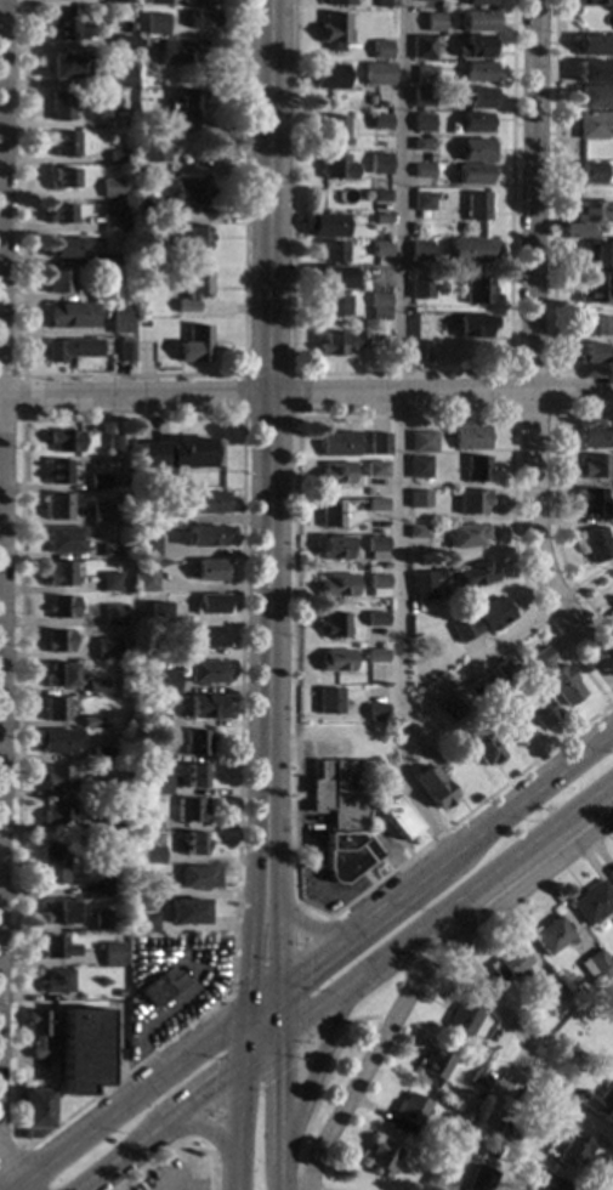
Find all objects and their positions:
building: (425, 0)
building: (114, 1)
building: (155, 1)
building: (591, 1)
building: (336, 2)
building: (478, 2)
building: (385, 4)
building: (200, 17)
building: (479, 18)
building: (431, 22)
building: (66, 25)
building: (124, 27)
building: (159, 29)
building: (333, 30)
building: (121, 41)
building: (142, 44)
building: (592, 45)
building: (475, 46)
building: (421, 47)
building: (380, 50)
building: (180, 51)
building: (66, 67)
building: (380, 68)
building: (478, 72)
building: (592, 72)
building: (425, 74)
building: (327, 75)
building: (120, 78)
building: (475, 96)
building: (592, 96)
building: (421, 97)
building: (110, 101)
building: (61, 106)
building: (176, 109)
building: (379, 121)
building: (421, 121)
building: (473, 123)
building: (594, 125)
building: (335, 130)
building: (64, 143)
building: (420, 144)
building: (153, 149)
building: (473, 149)
building: (118, 155)
building: (427, 159)
building: (379, 163)
building: (335, 166)
building: (435, 166)
building: (422, 170)
building: (471, 174)
building: (592, 174)
building: (63, 178)
building: (112, 188)
building: (189, 191)
building: (378, 195)
building: (421, 203)
building: (475, 205)
building: (146, 206)
building: (591, 211)
building: (59, 214)
road: (554, 215)
building: (380, 219)
building: (115, 223)
building: (171, 223)
building: (323, 225)
building: (575, 231)
building: (193, 240)
building: (67, 245)
building: (379, 248)
building: (469, 250)
building: (330, 251)
building: (419, 251)
building: (597, 254)
building: (103, 260)
road: (2, 263)
building: (331, 277)
building: (58, 282)
building: (189, 289)
building: (420, 289)
building: (594, 289)
building: (476, 290)
building: (101, 291)
building: (331, 305)
building: (378, 306)
building: (69, 314)
building: (120, 323)
building: (472, 325)
building: (594, 325)
building: (368, 338)
building: (339, 342)
building: (193, 344)
road: (268, 347)
building: (72, 348)
building: (124, 348)
building: (418, 350)
building: (144, 351)
road: (533, 351)
building: (591, 352)
road: (551, 372)
road: (397, 374)
road: (131, 375)
road: (306, 395)
road: (22, 396)
road: (245, 419)
building: (470, 436)
building: (596, 436)
building: (64, 440)
building: (422, 441)
building: (339, 443)
building: (379, 443)
building: (113, 444)
road: (399, 449)
building: (180, 454)
building: (419, 466)
building: (594, 466)
building: (375, 469)
building: (476, 469)
building: (57, 472)
building: (335, 472)
building: (98, 481)
building: (368, 492)
building: (418, 499)
building: (205, 501)
building: (471, 501)
building: (591, 501)
building: (376, 504)
building: (58, 505)
road: (554, 506)
building: (330, 512)
building: (101, 516)
building: (146, 518)
building: (136, 528)
building: (418, 532)
building: (466, 534)
building: (202, 535)
building: (64, 539)
building: (595, 544)
building: (146, 545)
building: (334, 548)
building: (375, 548)
building: (110, 550)
building: (209, 569)
building: (439, 572)
building: (58, 573)
building: (475, 574)
building: (142, 579)
building: (109, 582)
building: (378, 584)
road: (294, 585)
building: (337, 586)
building: (421, 586)
building: (612, 601)
building: (209, 603)
building: (61, 607)
building: (155, 613)
building: (114, 614)
building: (375, 619)
building: (482, 619)
building: (334, 625)
building: (209, 637)
building: (57, 640)
building: (107, 647)
building: (90, 652)
building: (375, 656)
building: (335, 659)
building: (503, 670)
building: (205, 671)
building: (59, 674)
building: (555, 676)
building: (164, 681)
building: (97, 687)
building: (476, 690)
building: (328, 701)
road: (611, 703)
building: (204, 707)
building: (53, 708)
building: (450, 709)
building: (539, 709)
building: (375, 712)
building: (90, 721)
building: (153, 721)
building: (510, 729)
building: (55, 739)
building: (192, 742)
building: (483, 749)
building: (102, 754)
building: (155, 754)
building: (193, 776)
building: (57, 777)
road: (407, 784)
building: (431, 787)
building: (98, 788)
building: (154, 789)
building: (342, 792)
building: (187, 810)
building: (57, 811)
building: (393, 817)
building: (112, 820)
building: (148, 821)
road: (273, 838)
building: (141, 841)
building: (193, 844)
road: (252, 851)
road: (447, 852)
building: (346, 855)
building: (148, 857)
building: (55, 862)
building: (611, 873)
building: (195, 877)
building: (151, 885)
building: (109, 886)
building: (591, 902)
road: (445, 909)
building: (185, 911)
building: (58, 912)
building: (102, 920)
building: (143, 922)
road: (296, 922)
road: (313, 928)
building: (551, 935)
building: (121, 936)
building: (55, 947)
building: (110, 953)
traffic signals: (307, 960)
building: (510, 964)
building: (594, 965)
road: (418, 970)
traffic signals: (245, 971)
road: (198, 973)
building: (56, 981)
building: (160, 987)
building: (551, 991)
building: (95, 992)
road: (261, 996)
road: (279, 1009)
building: (461, 1018)
road: (365, 1019)
building: (38, 1033)
road: (319, 1035)
road: (240, 1038)
building: (80, 1050)
building: (478, 1052)
road: (152, 1053)
road: (259, 1053)
road: (515, 1061)
building: (433, 1066)
road: (314, 1072)
building: (594, 1072)
traffic signals: (279, 1075)
building: (477, 1081)
traffic signals: (212, 1087)
road: (123, 1098)
building: (524, 1099)
building: (598, 1103)
road: (220, 1109)
building: (35, 1112)
road: (279, 1113)
building: (405, 1113)
road: (209, 1128)
road: (235, 1128)
road: (157, 1129)
road: (212, 1132)
building: (505, 1134)
road: (175, 1143)
building: (453, 1143)
building: (571, 1149)
building: (489, 1152)
road: (11, 1157)
building: (380, 1157)
road: (5, 1178)
parking lot: (166, 1178)
building: (479, 1178)
building: (431, 1179)
building: (545, 1183)
road: (170, 1189)

